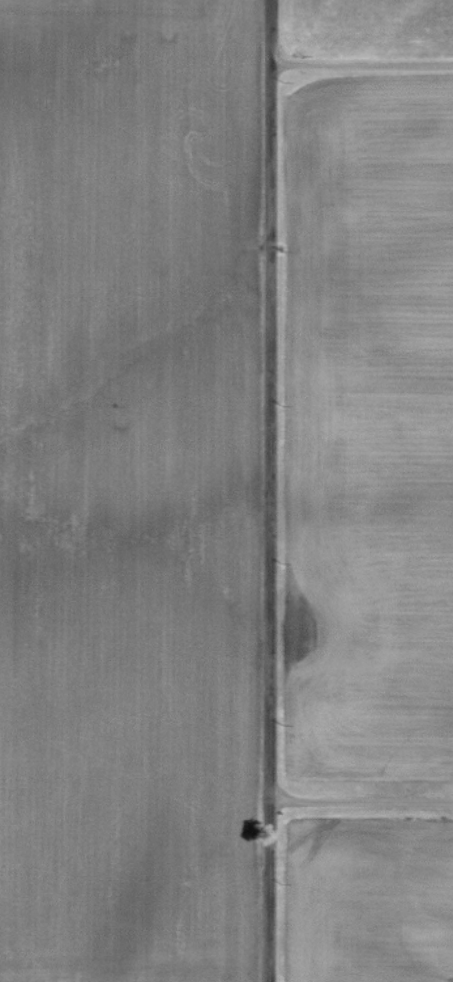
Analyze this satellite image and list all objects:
road: (360, 65)
road: (262, 490)
road: (355, 799)

